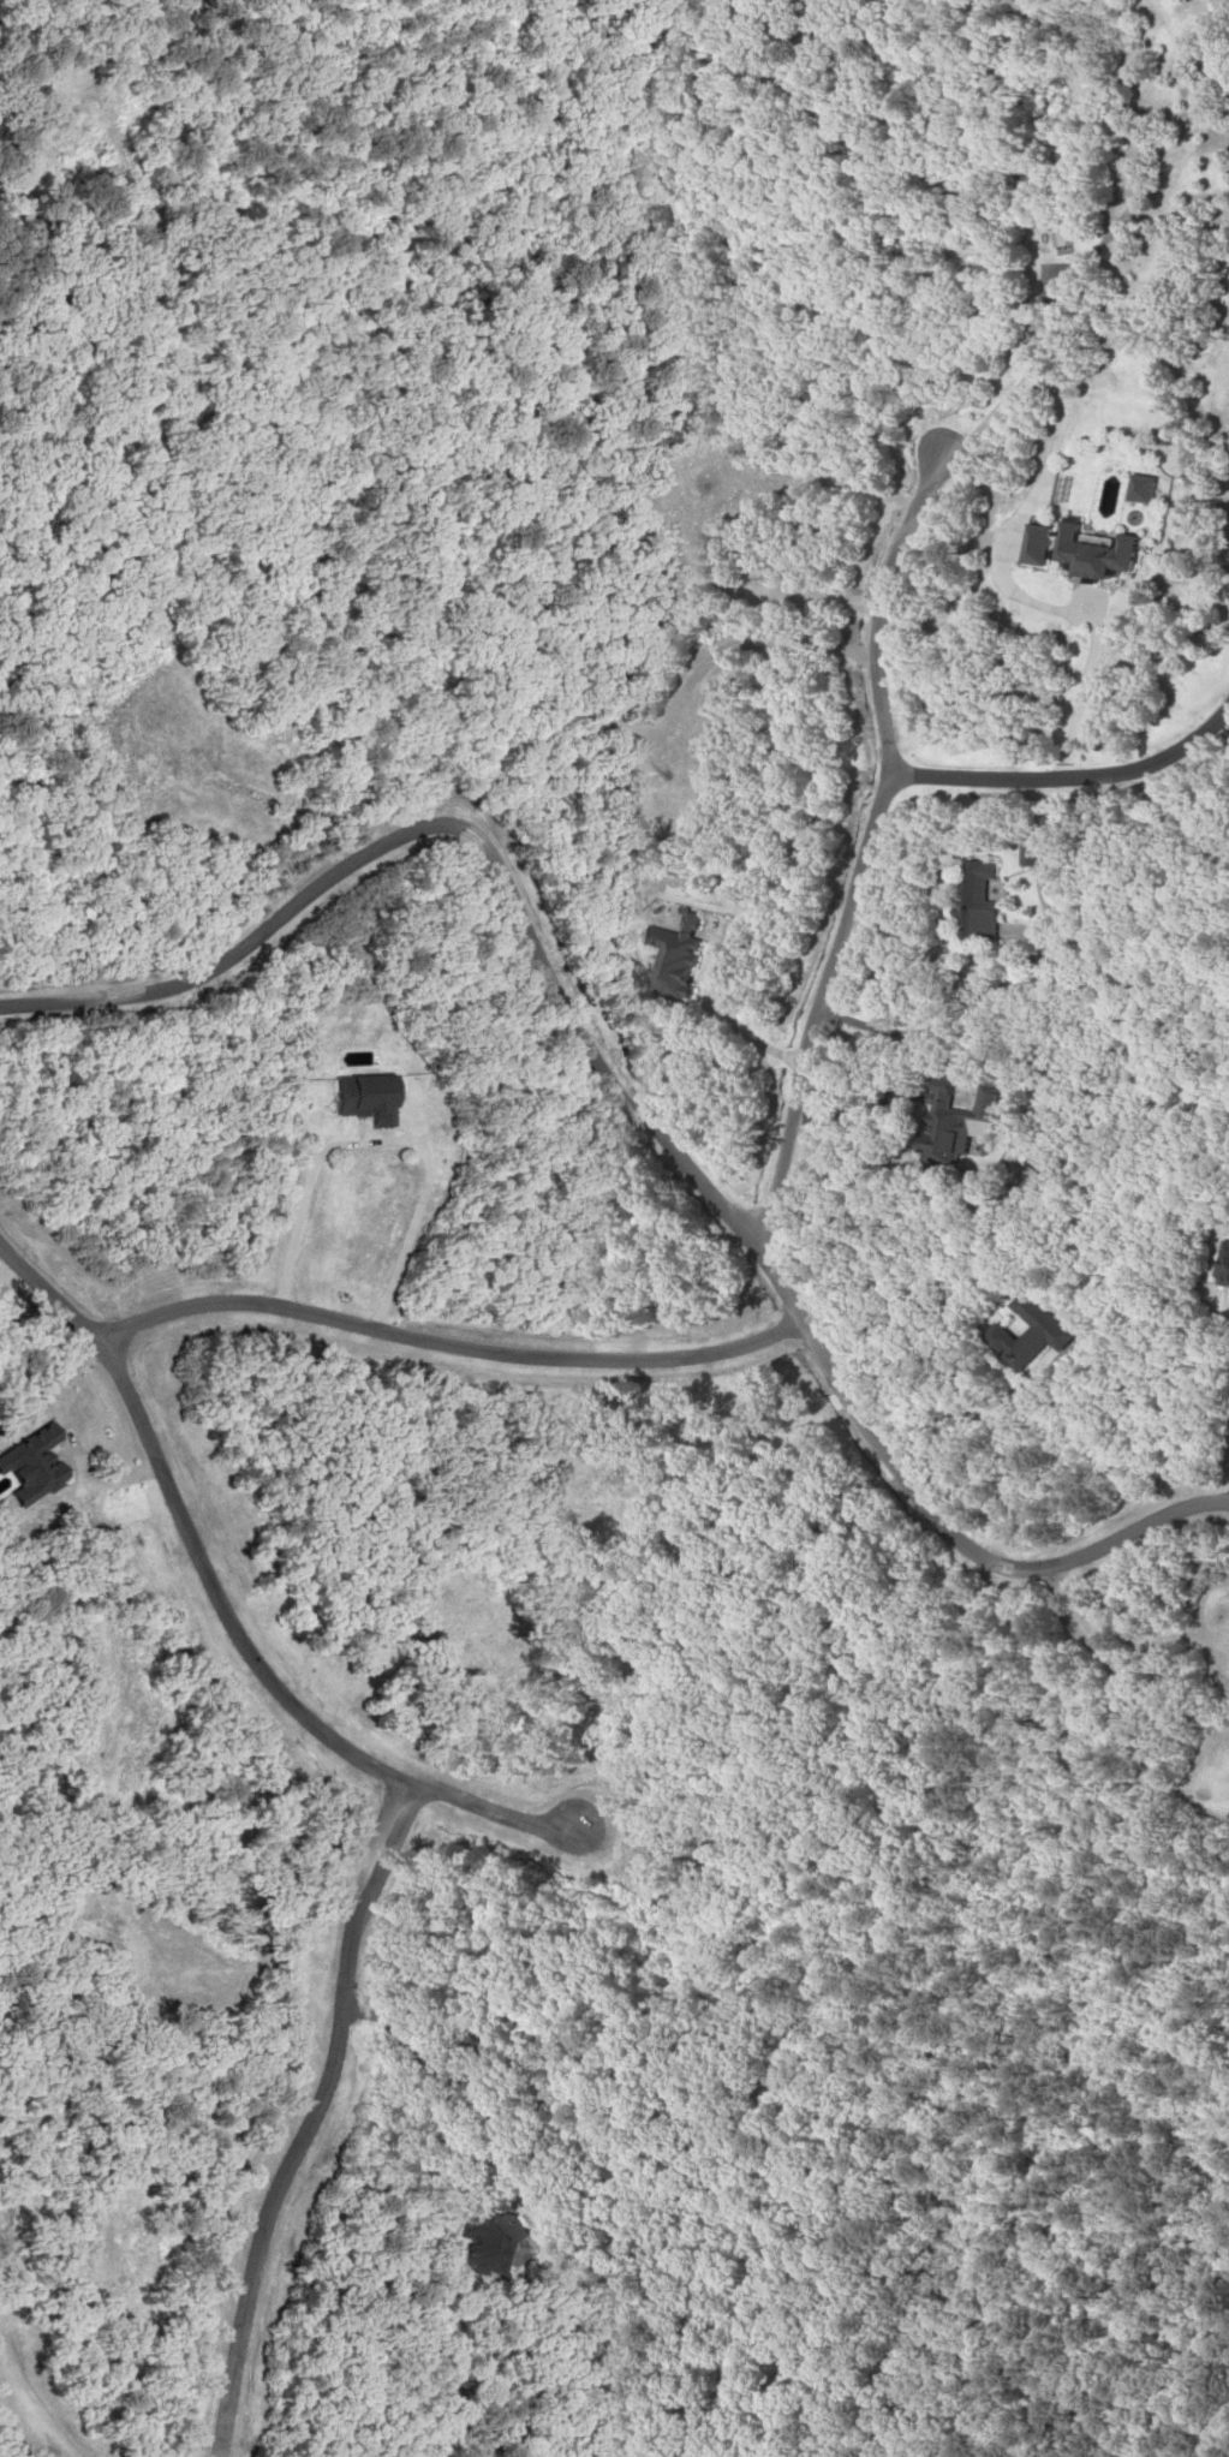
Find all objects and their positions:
building: (76, 118)
building: (1140, 488)
building: (1036, 543)
building: (1093, 550)
road: (873, 610)
road: (863, 836)
building: (1028, 854)
building: (976, 902)
building: (668, 955)
building: (350, 1098)
road: (631, 1101)
building: (948, 1122)
building: (1221, 1265)
building: (1025, 1332)
road: (447, 1342)
road: (1228, 1496)
road: (231, 1592)
road: (326, 2117)
building: (483, 2243)

